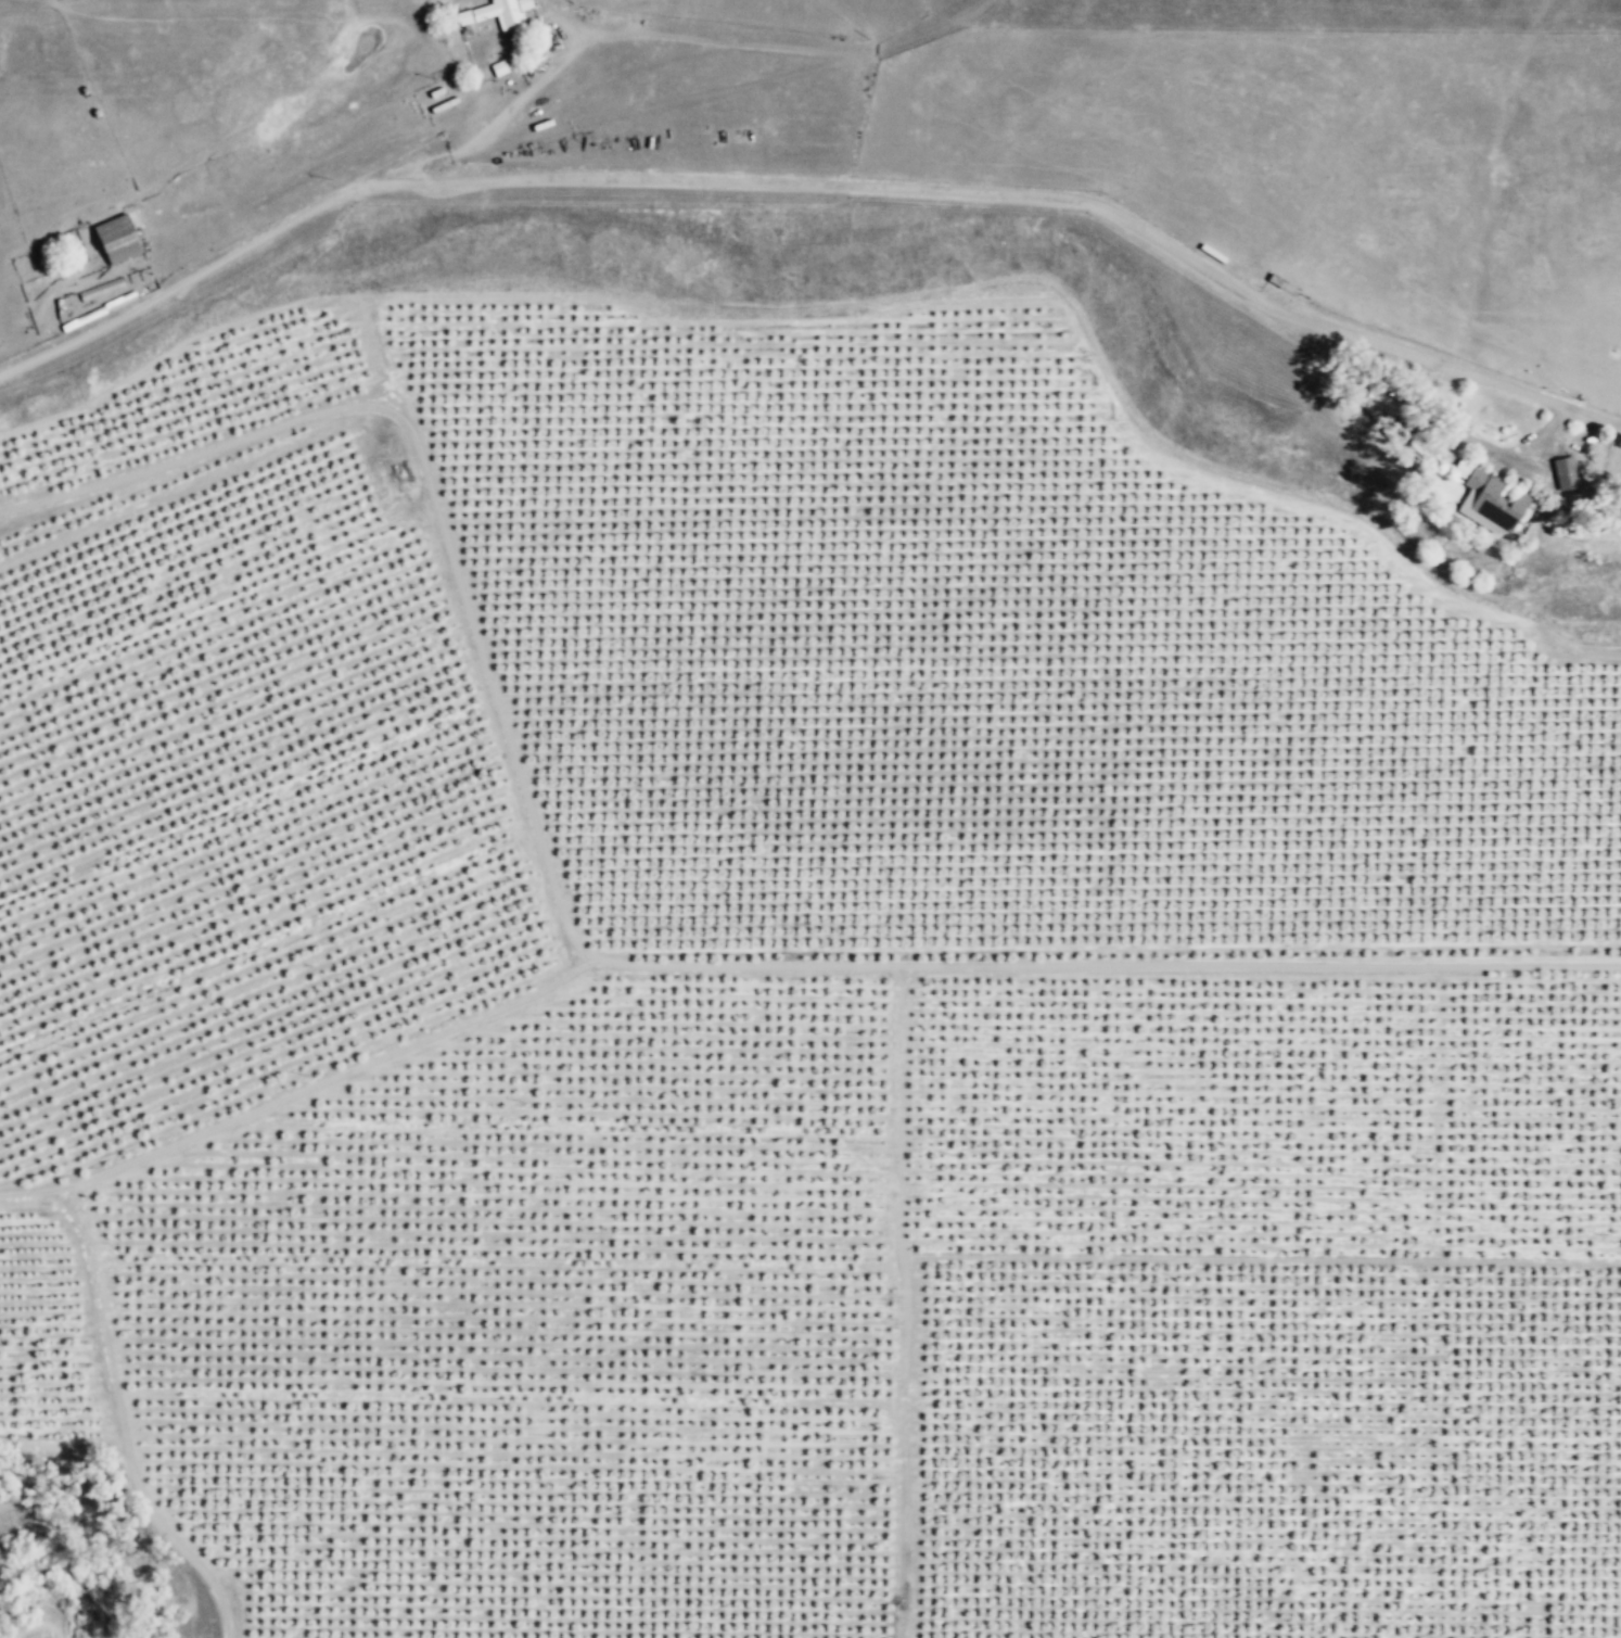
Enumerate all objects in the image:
building: (498, 13)
road: (779, 47)
road: (503, 109)
road: (1034, 196)
building: (118, 238)
road: (199, 275)
building: (103, 288)
building: (112, 305)
building: (1562, 473)
road: (608, 961)
river: (79, 1567)

